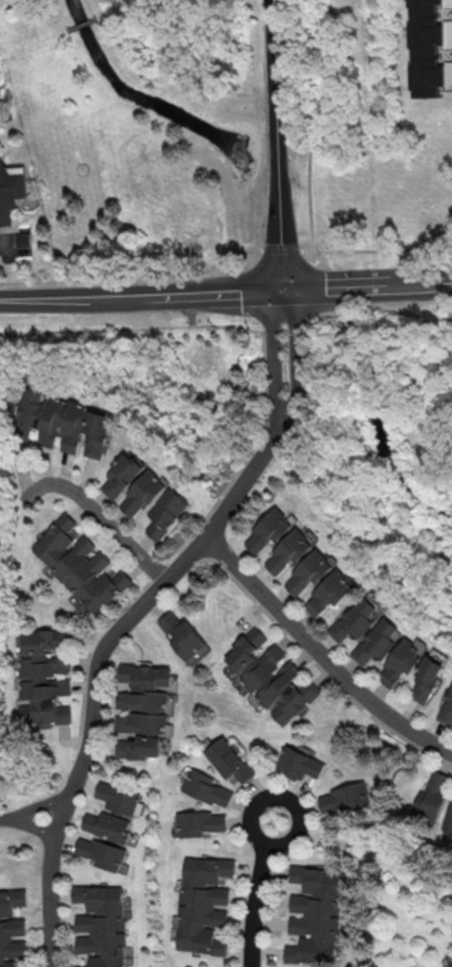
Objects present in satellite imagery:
building: (424, 49)
road: (274, 80)
road: (306, 125)
building: (10, 190)
road: (280, 224)
building: (24, 240)
road: (382, 249)
road: (281, 250)
road: (306, 250)
road: (312, 269)
road: (133, 275)
road: (426, 282)
road: (341, 286)
traffic signals: (283, 290)
road: (215, 292)
road: (74, 296)
road: (349, 309)
road: (411, 315)
road: (166, 326)
road: (272, 358)
road: (296, 361)
building: (67, 423)
building: (121, 475)
building: (142, 494)
road: (97, 512)
building: (165, 513)
building: (269, 529)
building: (290, 550)
building: (79, 564)
building: (309, 570)
building: (329, 592)
building: (356, 619)
building: (179, 634)
building: (377, 641)
road: (321, 653)
building: (401, 662)
road: (99, 670)
building: (269, 675)
building: (45, 676)
building: (428, 679)
building: (447, 708)
building: (142, 709)
building: (229, 760)
building: (299, 763)
building: (209, 789)
building: (434, 791)
building: (119, 797)
building: (344, 797)
road: (281, 798)
road: (38, 807)
building: (448, 819)
road: (3, 820)
building: (202, 823)
building: (107, 825)
road: (31, 827)
building: (99, 852)
road: (256, 902)
building: (202, 905)
building: (315, 914)
building: (102, 924)
building: (11, 926)

